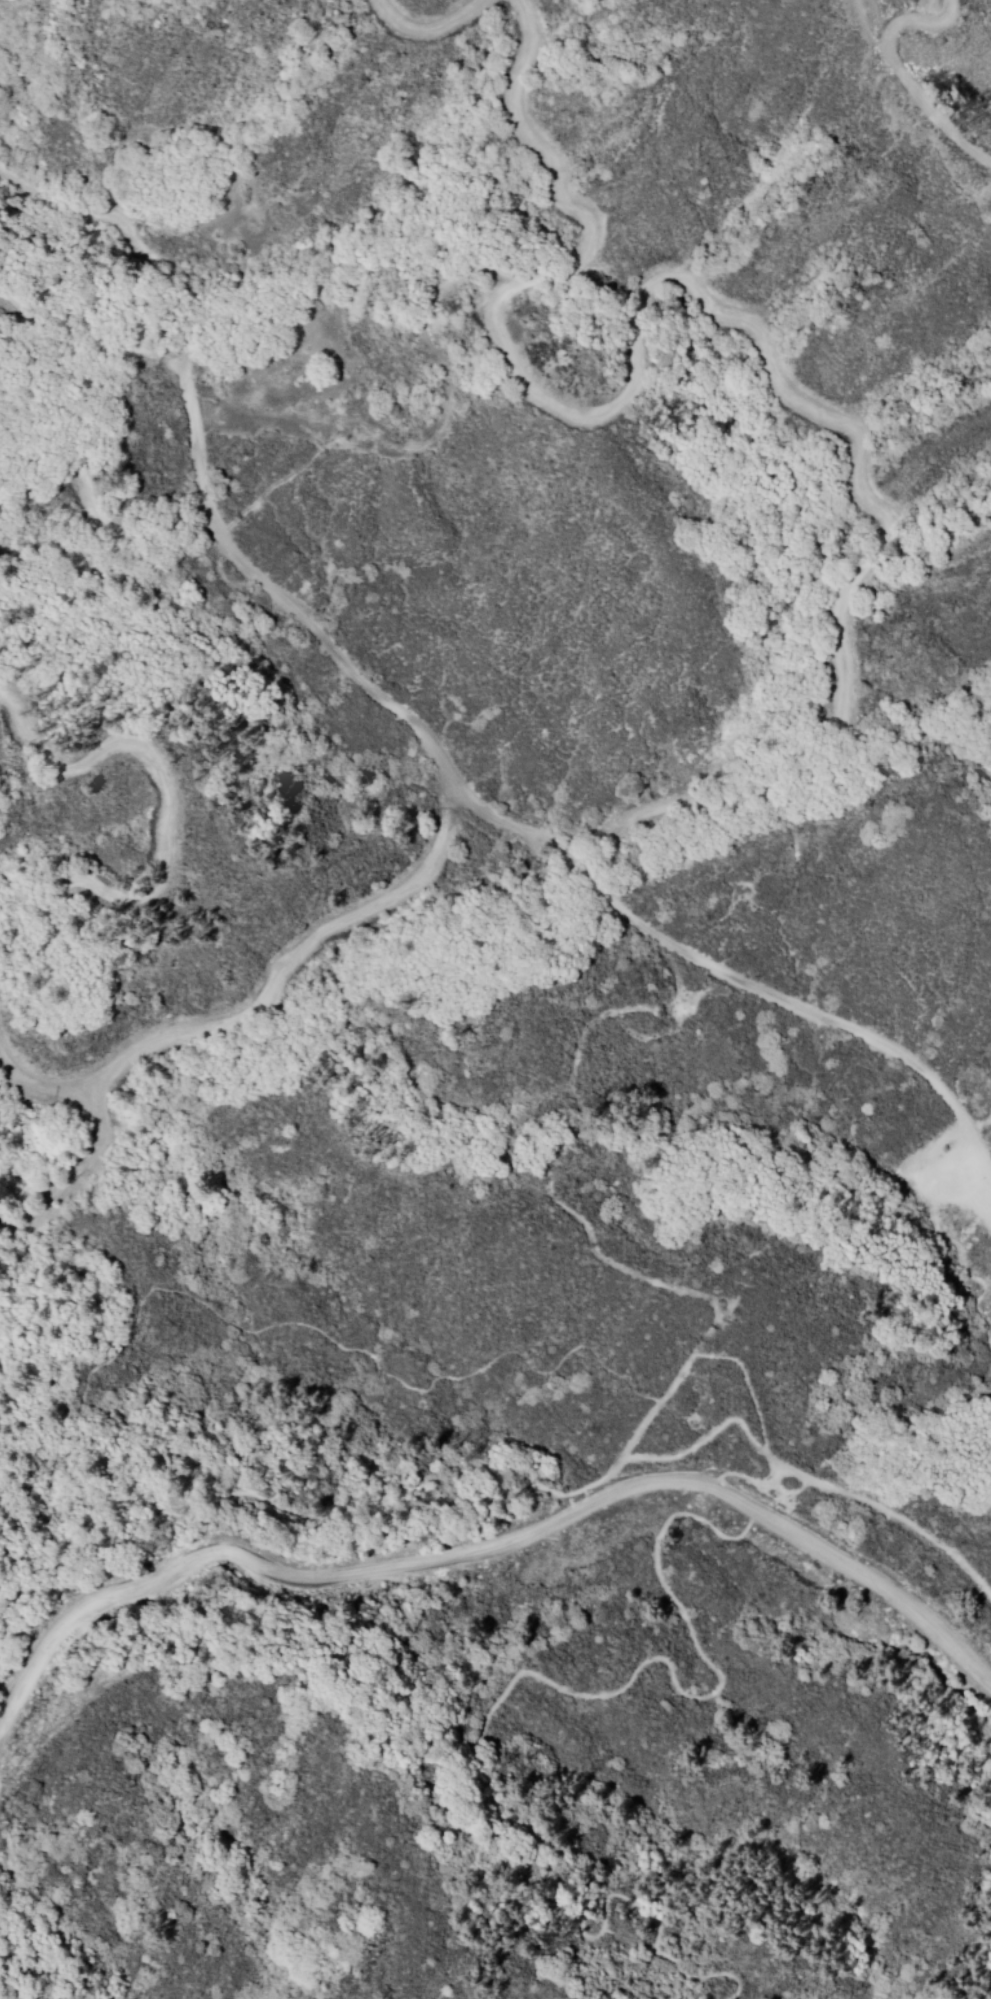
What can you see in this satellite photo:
road: (414, 725)
road: (349, 1350)
road: (694, 1357)
road: (493, 1472)
road: (749, 1485)
road: (495, 1551)
road: (482, 1728)

